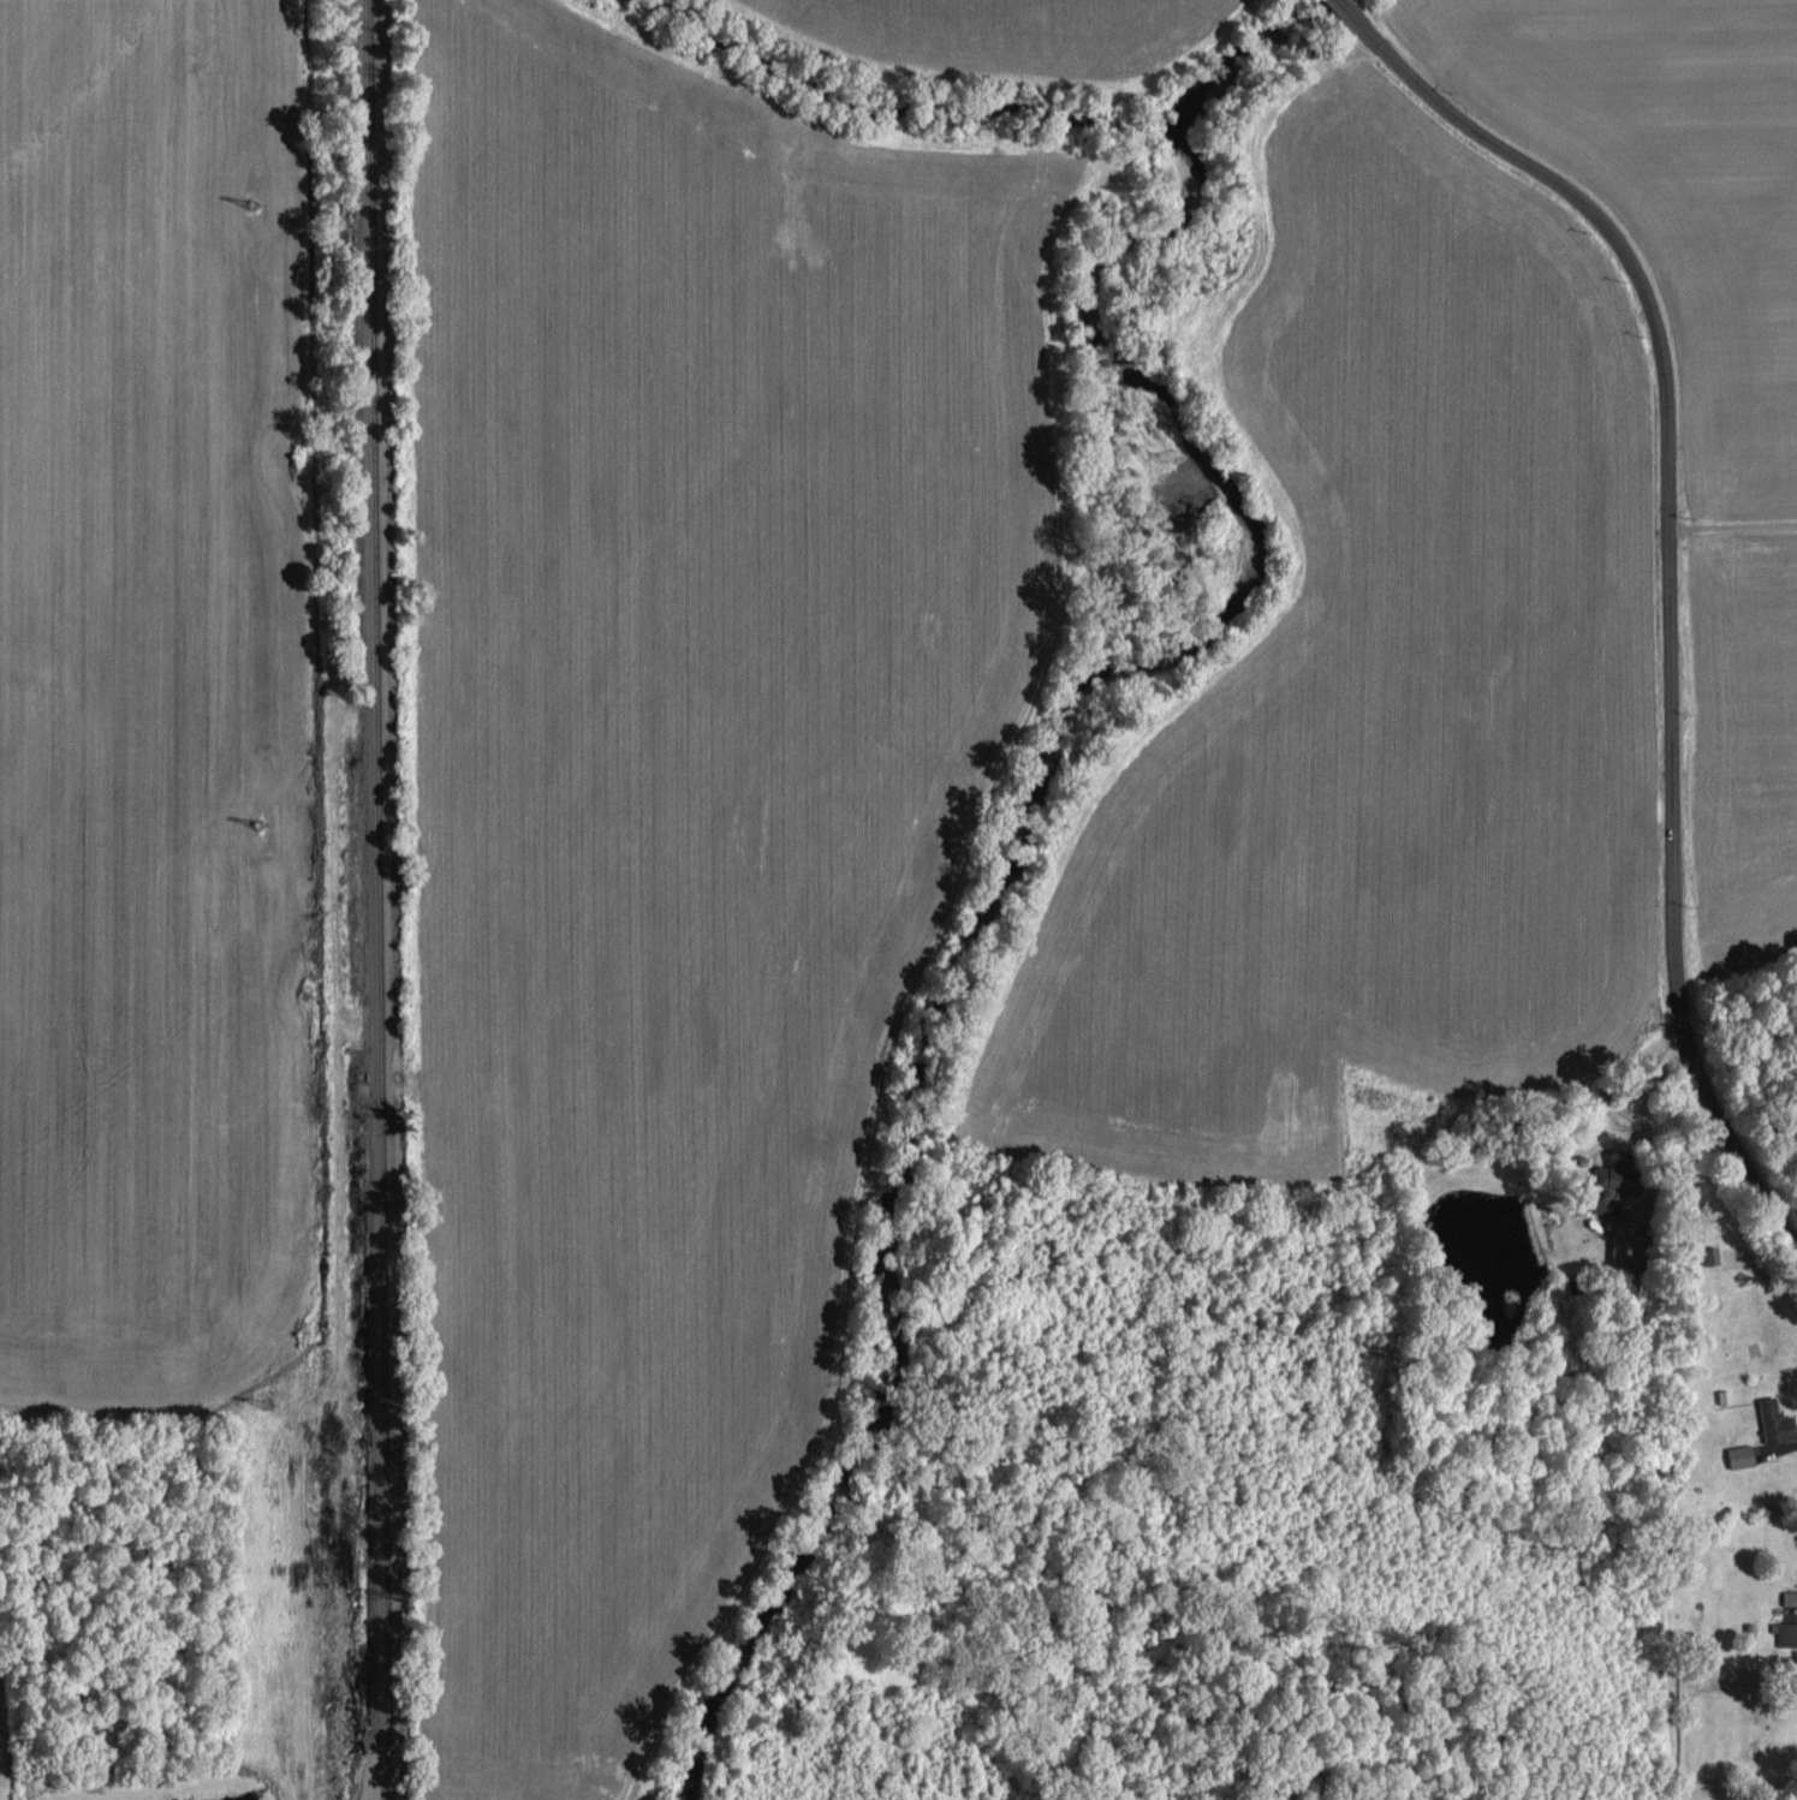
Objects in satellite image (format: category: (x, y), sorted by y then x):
road: (1733, 525)
road: (1668, 570)
railway: (383, 900)
building: (1599, 1188)
building: (1702, 1253)
building: (1769, 1420)
building: (1736, 1454)
building: (1785, 1632)

